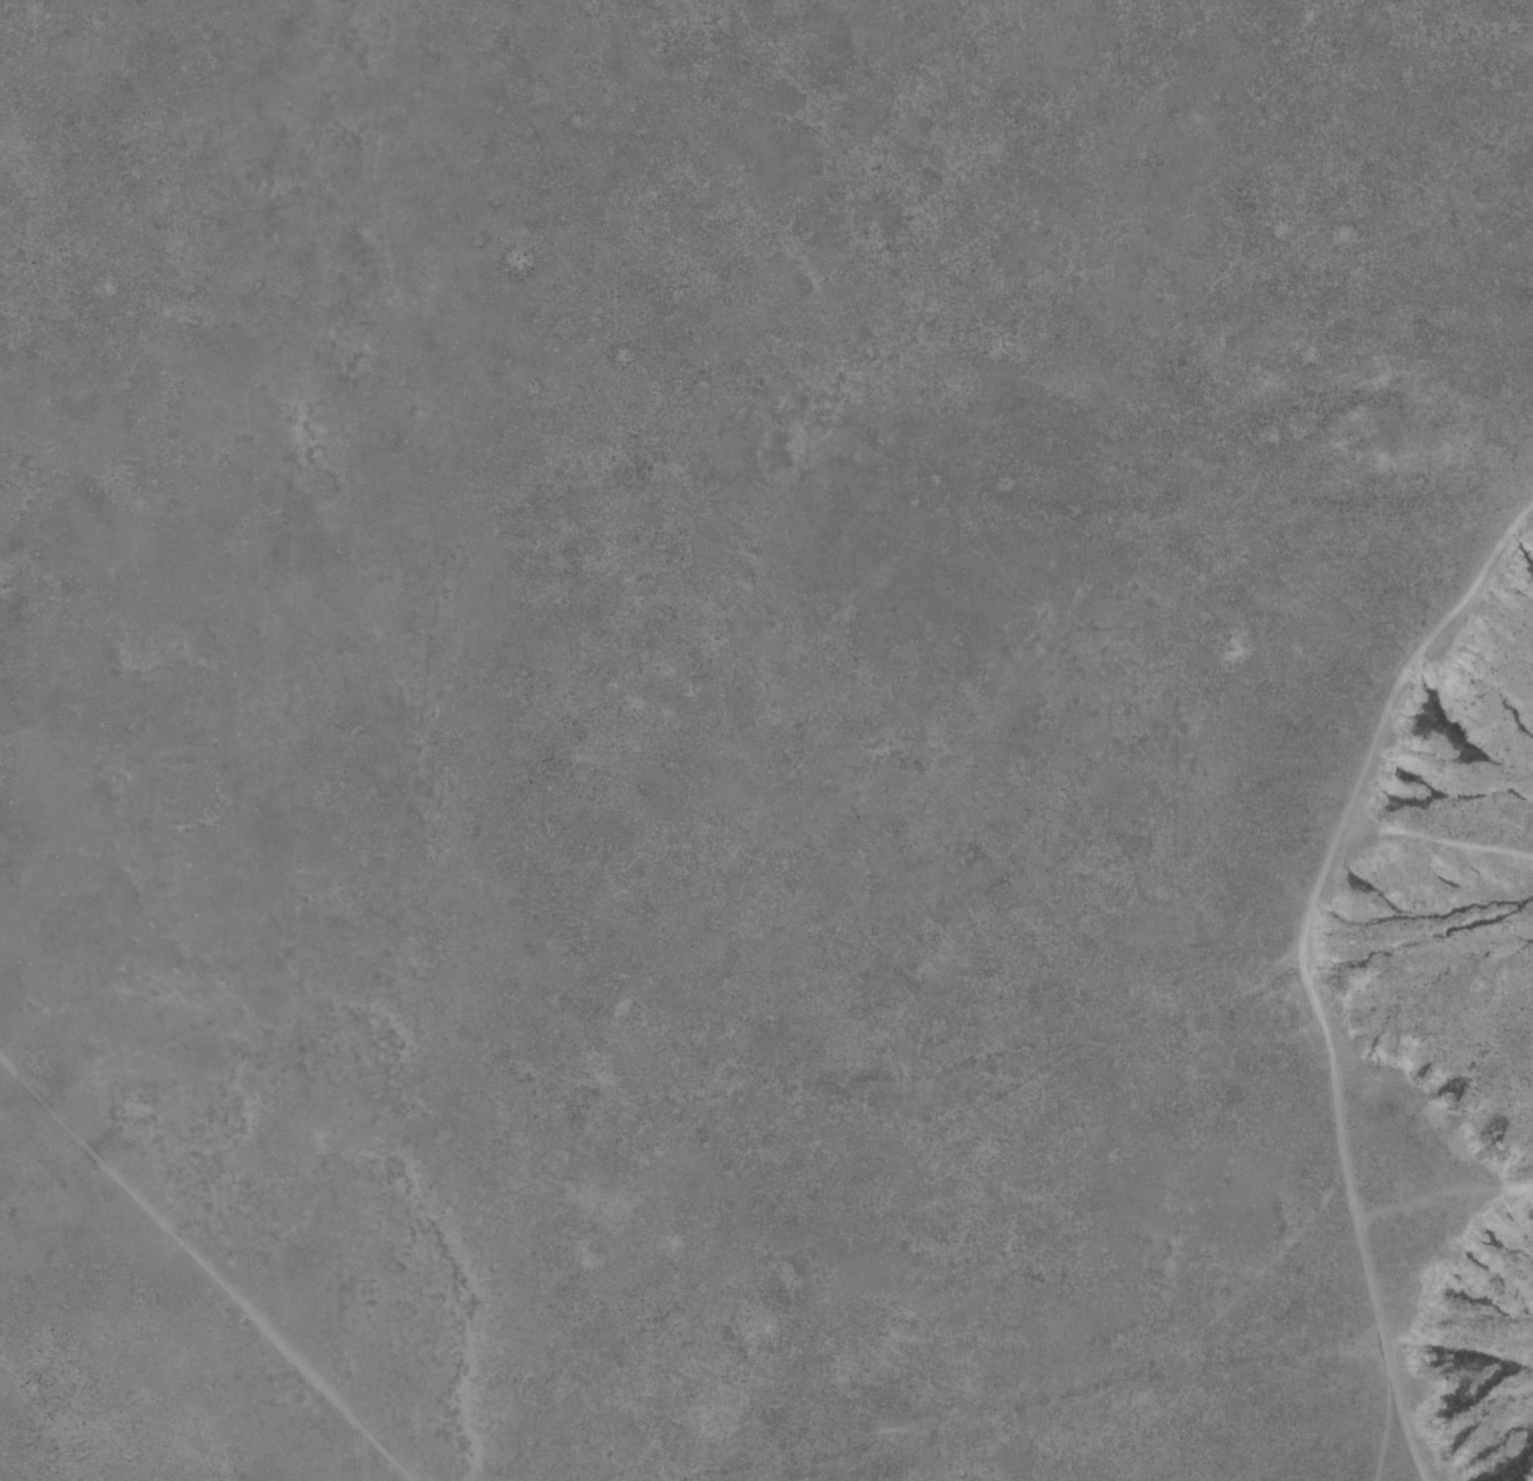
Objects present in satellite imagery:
road: (1316, 972)

